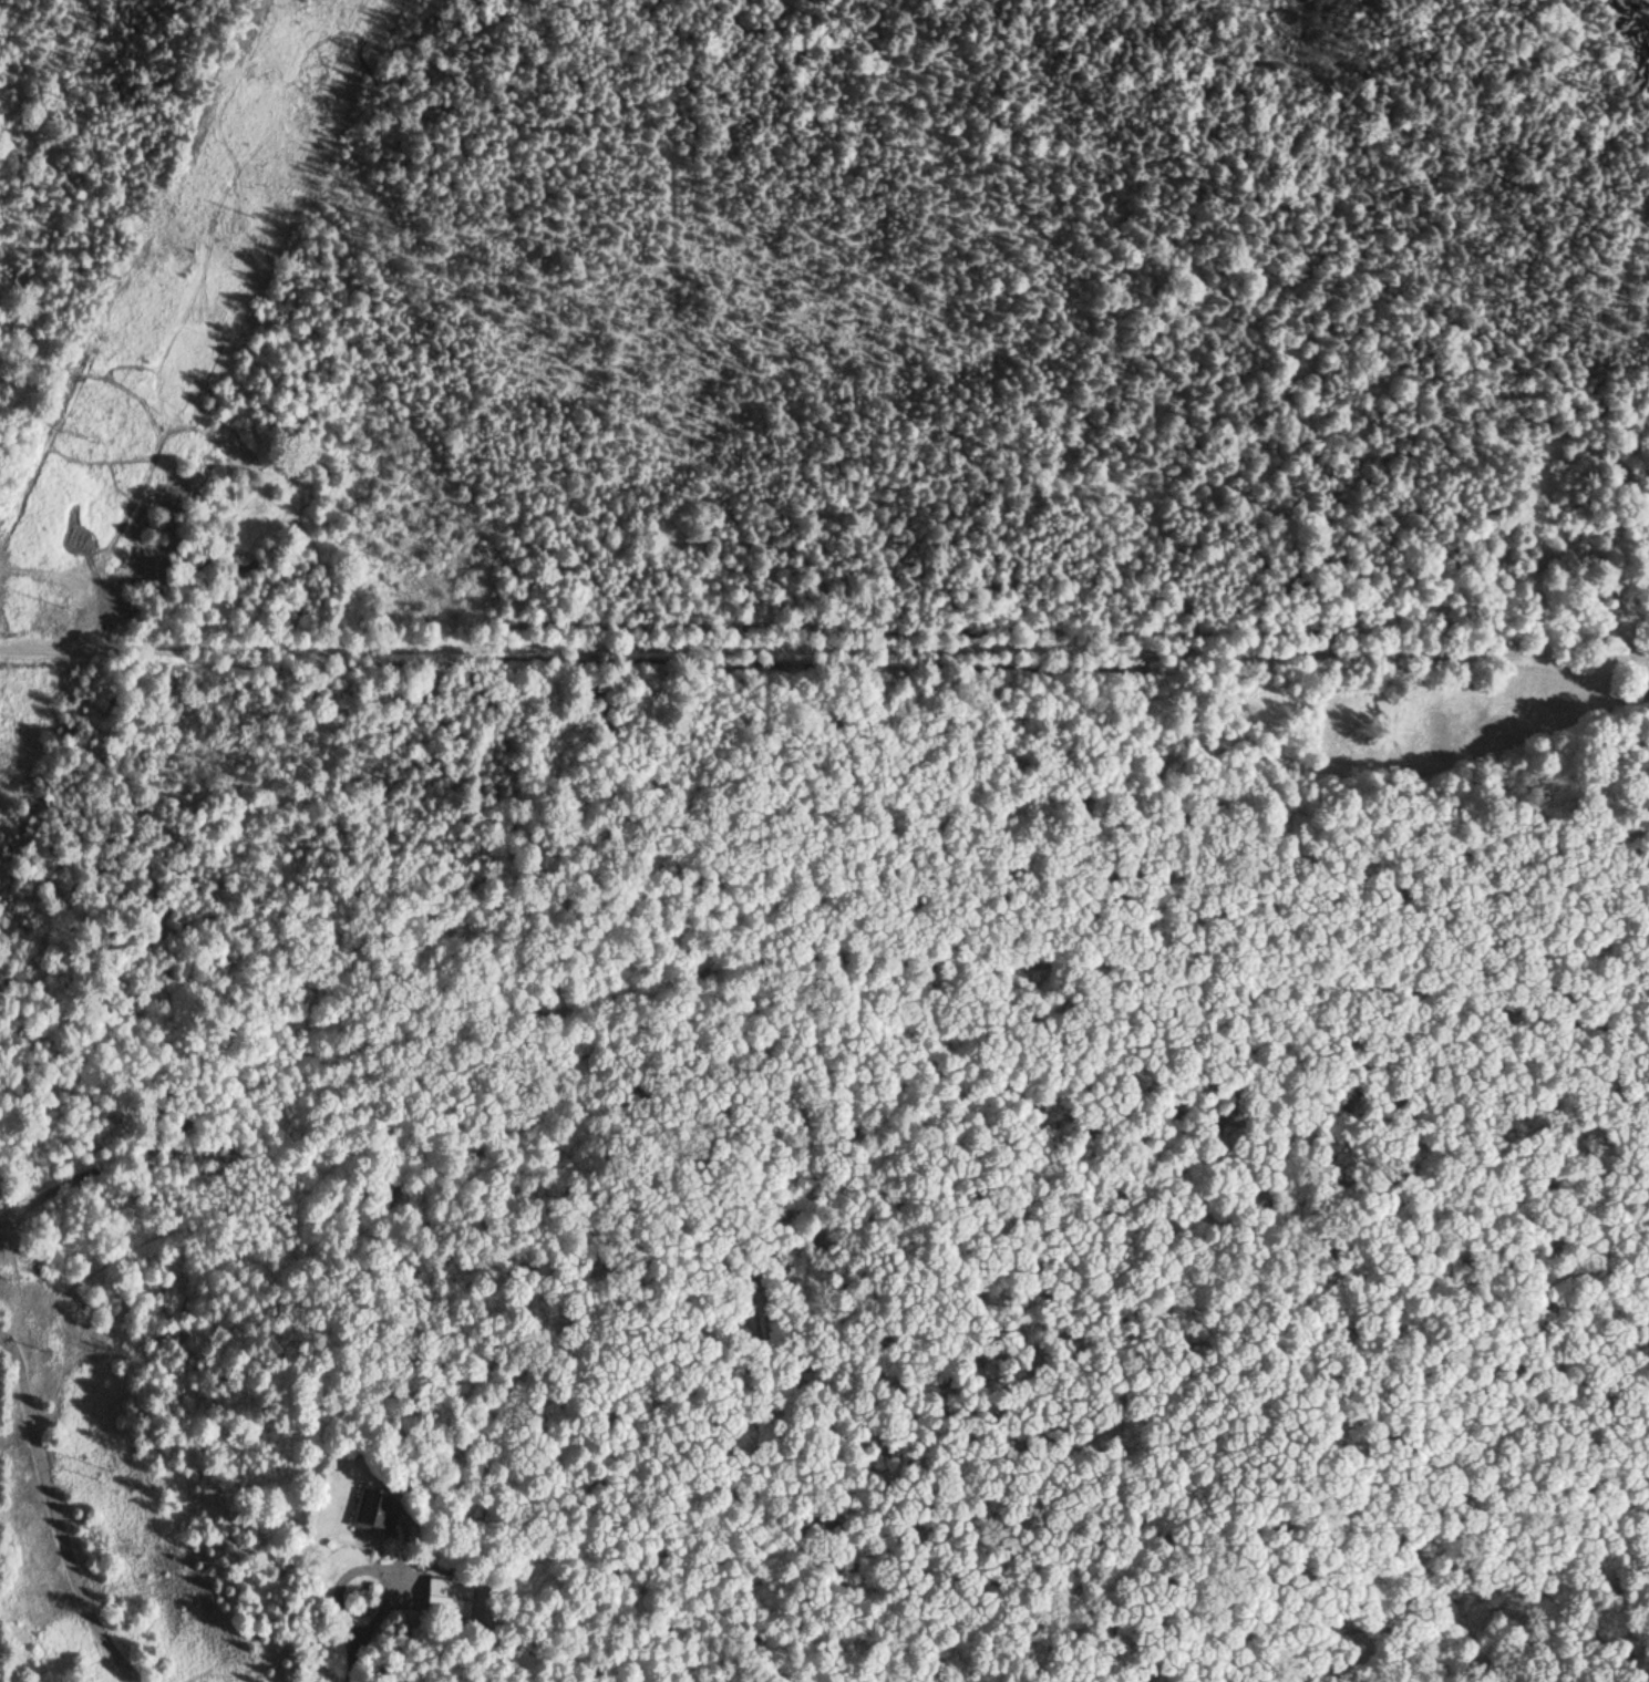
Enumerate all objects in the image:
river: (1647, 2)
power tower: (96, 429)
road: (803, 960)
building: (373, 1510)
building: (451, 1596)

